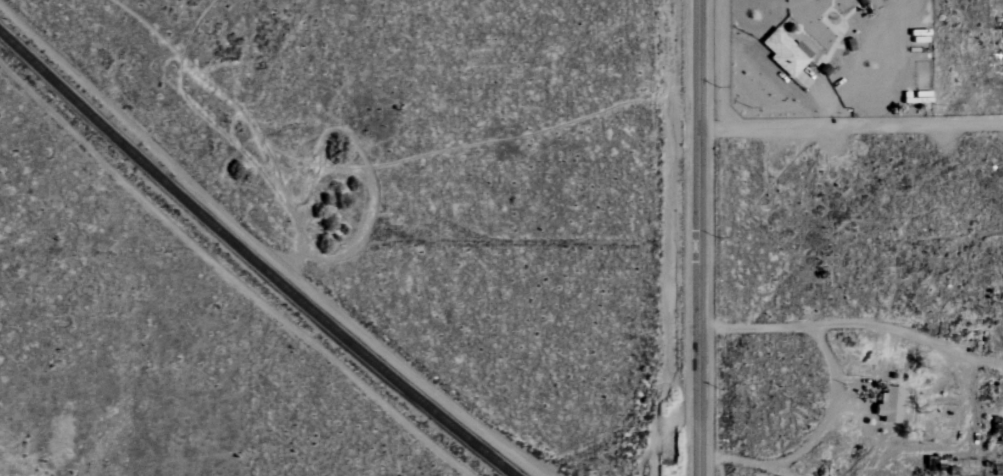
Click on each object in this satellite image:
building: (785, 52)
road: (850, 127)
road: (699, 238)
railway: (252, 259)
road: (854, 323)
building: (888, 405)
building: (996, 425)
road: (813, 439)

